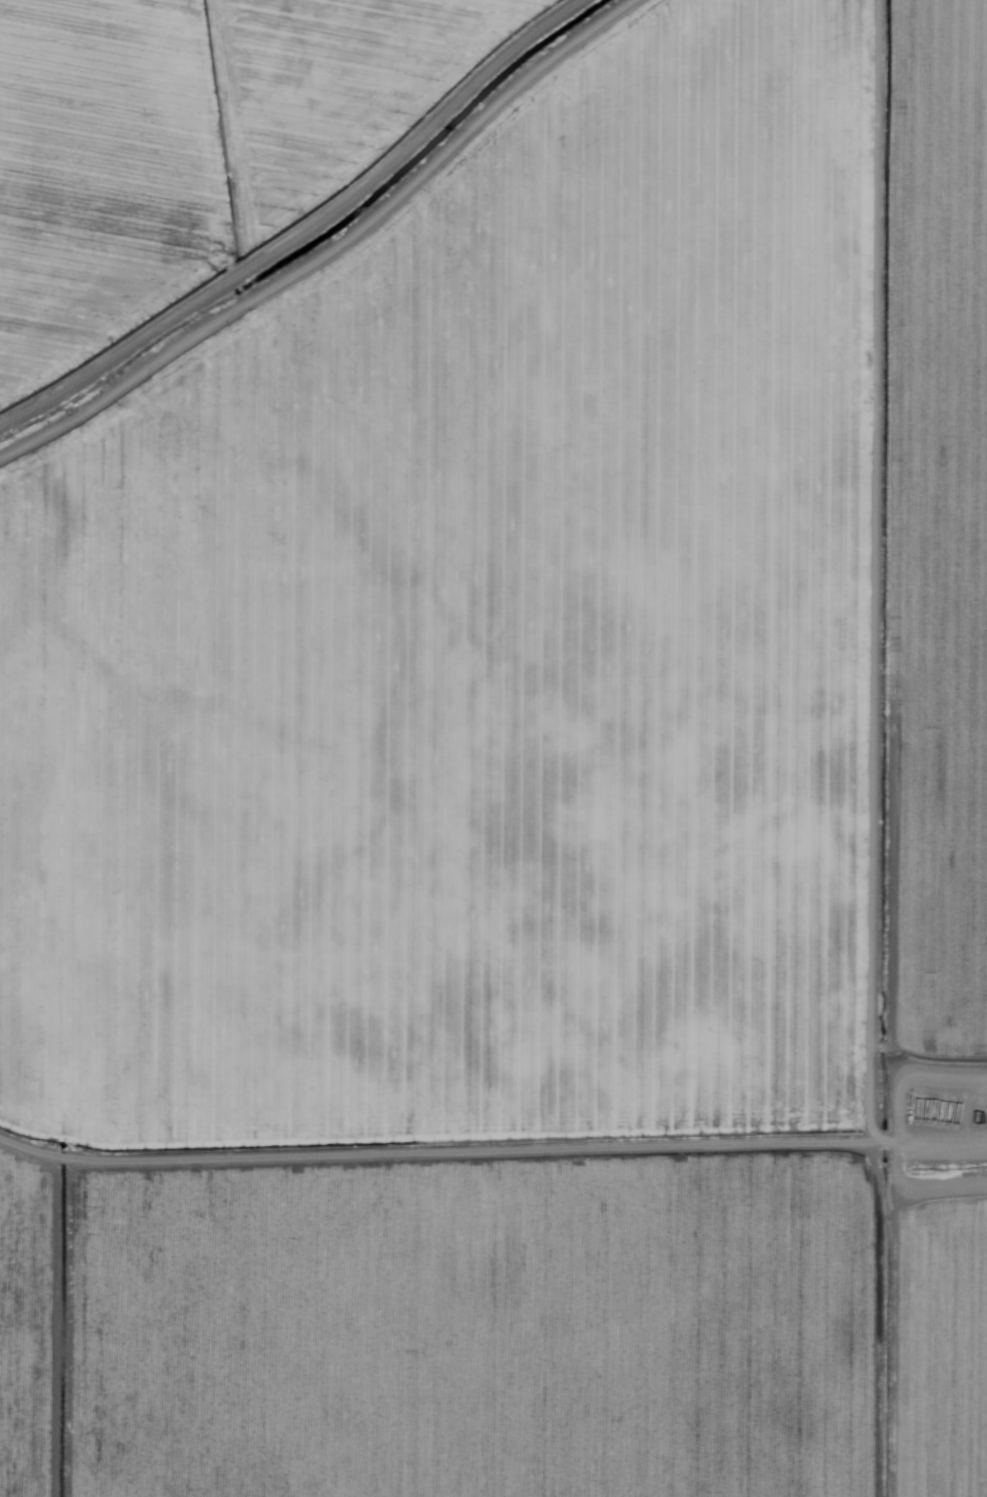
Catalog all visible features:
crop: (493, 558)
road: (493, 1150)
crop: (494, 1331)

